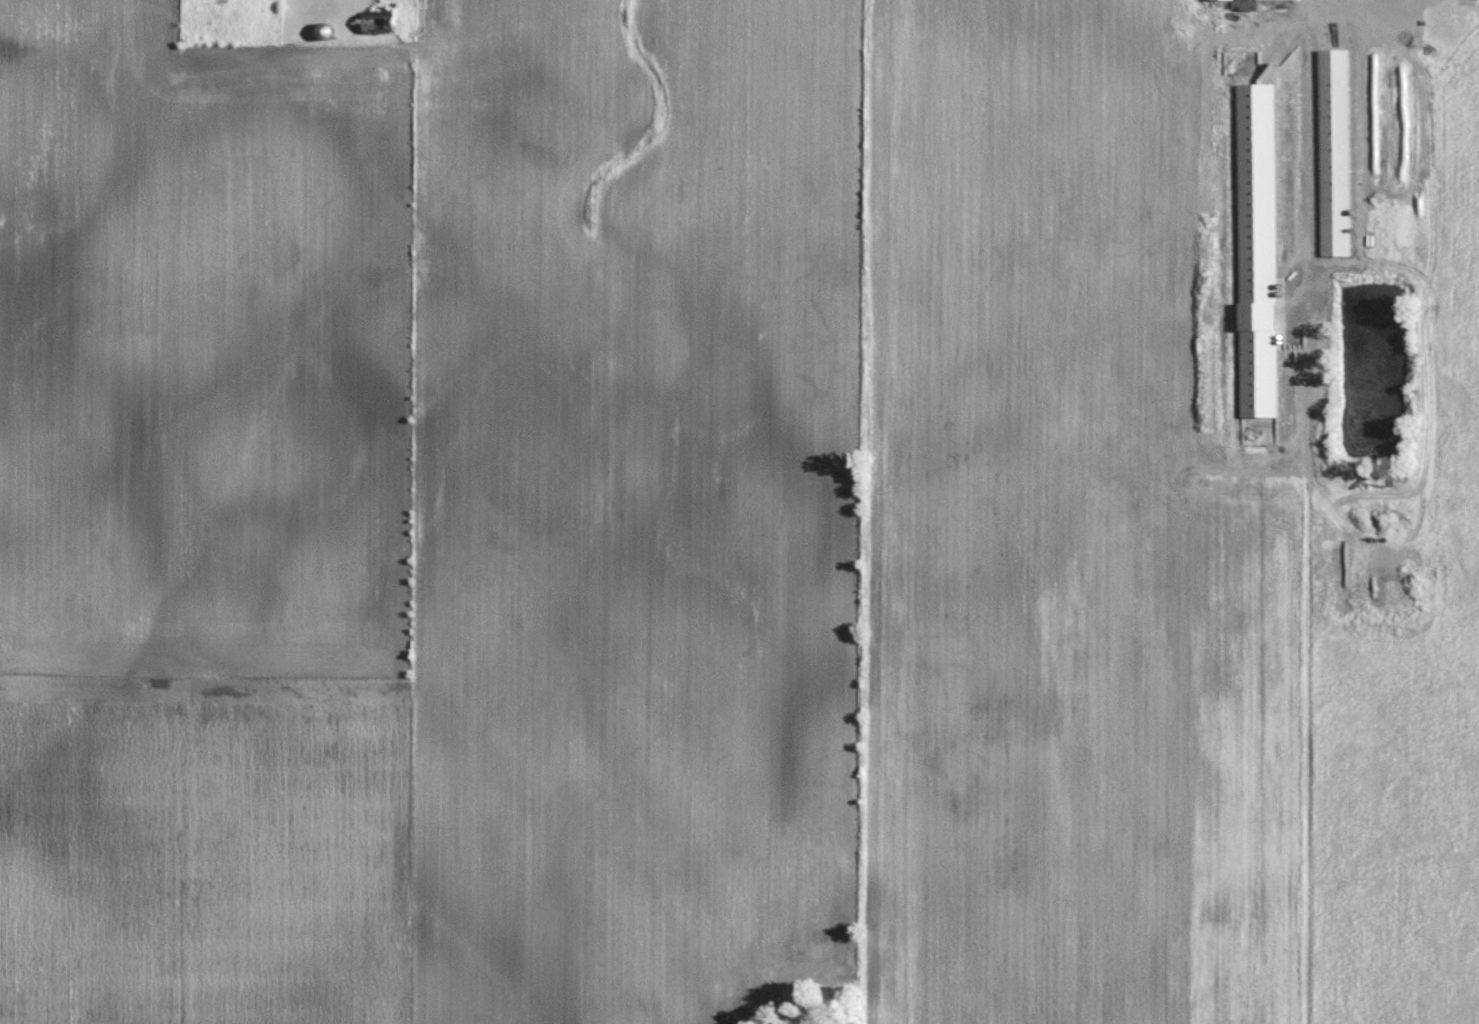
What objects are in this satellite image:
building: (388, 21)
building: (1331, 152)

